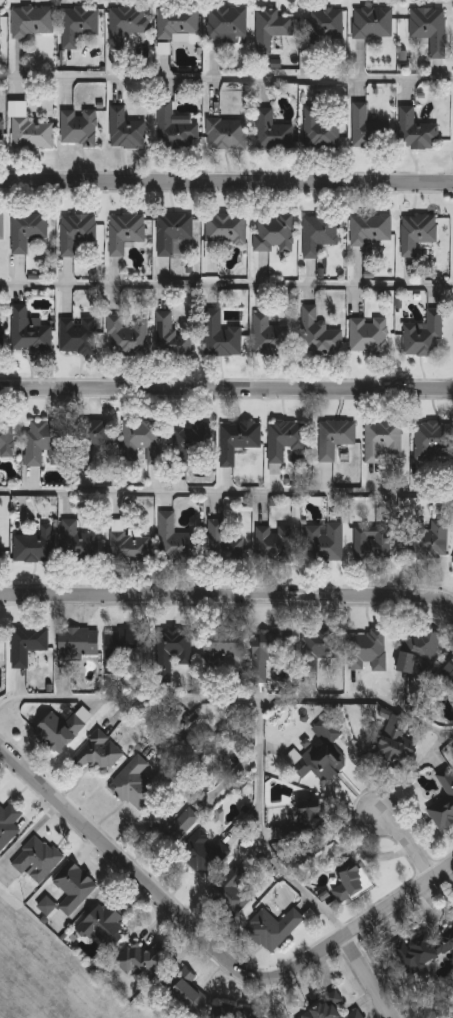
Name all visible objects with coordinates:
building: (1, 21)
building: (33, 22)
building: (179, 22)
building: (374, 23)
building: (228, 24)
building: (80, 25)
building: (127, 25)
building: (327, 26)
building: (431, 28)
building: (272, 29)
road: (226, 78)
building: (176, 127)
building: (80, 128)
building: (369, 129)
building: (127, 130)
building: (321, 131)
building: (417, 131)
building: (273, 132)
building: (34, 133)
building: (2, 134)
building: (227, 134)
road: (226, 182)
building: (2, 229)
building: (227, 229)
building: (372, 230)
building: (28, 231)
building: (173, 231)
building: (77, 232)
building: (126, 232)
building: (275, 233)
building: (319, 234)
building: (419, 234)
road: (226, 285)
building: (31, 334)
building: (320, 334)
building: (370, 335)
building: (79, 336)
building: (222, 336)
building: (270, 336)
building: (424, 336)
building: (127, 337)
building: (172, 337)
building: (2, 340)
road: (226, 390)
building: (336, 438)
building: (91, 439)
building: (7, 440)
building: (287, 440)
building: (383, 440)
building: (144, 441)
building: (238, 441)
building: (434, 441)
building: (194, 442)
building: (47, 443)
building: (275, 468)
road: (226, 492)
building: (430, 540)
building: (175, 542)
building: (276, 543)
building: (326, 543)
building: (79, 544)
building: (224, 544)
building: (37, 546)
building: (373, 547)
building: (131, 548)
building: (0, 550)
road: (227, 595)
building: (79, 643)
building: (28, 645)
building: (319, 647)
building: (223, 649)
building: (271, 650)
building: (418, 650)
building: (128, 651)
building: (369, 651)
building: (173, 652)
building: (447, 676)
road: (359, 699)
road: (260, 701)
building: (60, 731)
building: (395, 745)
building: (98, 752)
building: (323, 754)
building: (135, 784)
building: (444, 804)
building: (9, 825)
building: (172, 825)
building: (306, 826)
road: (404, 839)
building: (204, 854)
building: (38, 859)
building: (353, 883)
building: (75, 888)
building: (232, 893)
building: (47, 905)
building: (105, 925)
building: (274, 928)
road: (208, 948)
building: (427, 949)
building: (142, 961)
road: (367, 977)
building: (190, 997)
building: (329, 1006)
building: (236, 1013)
building: (356, 1015)

